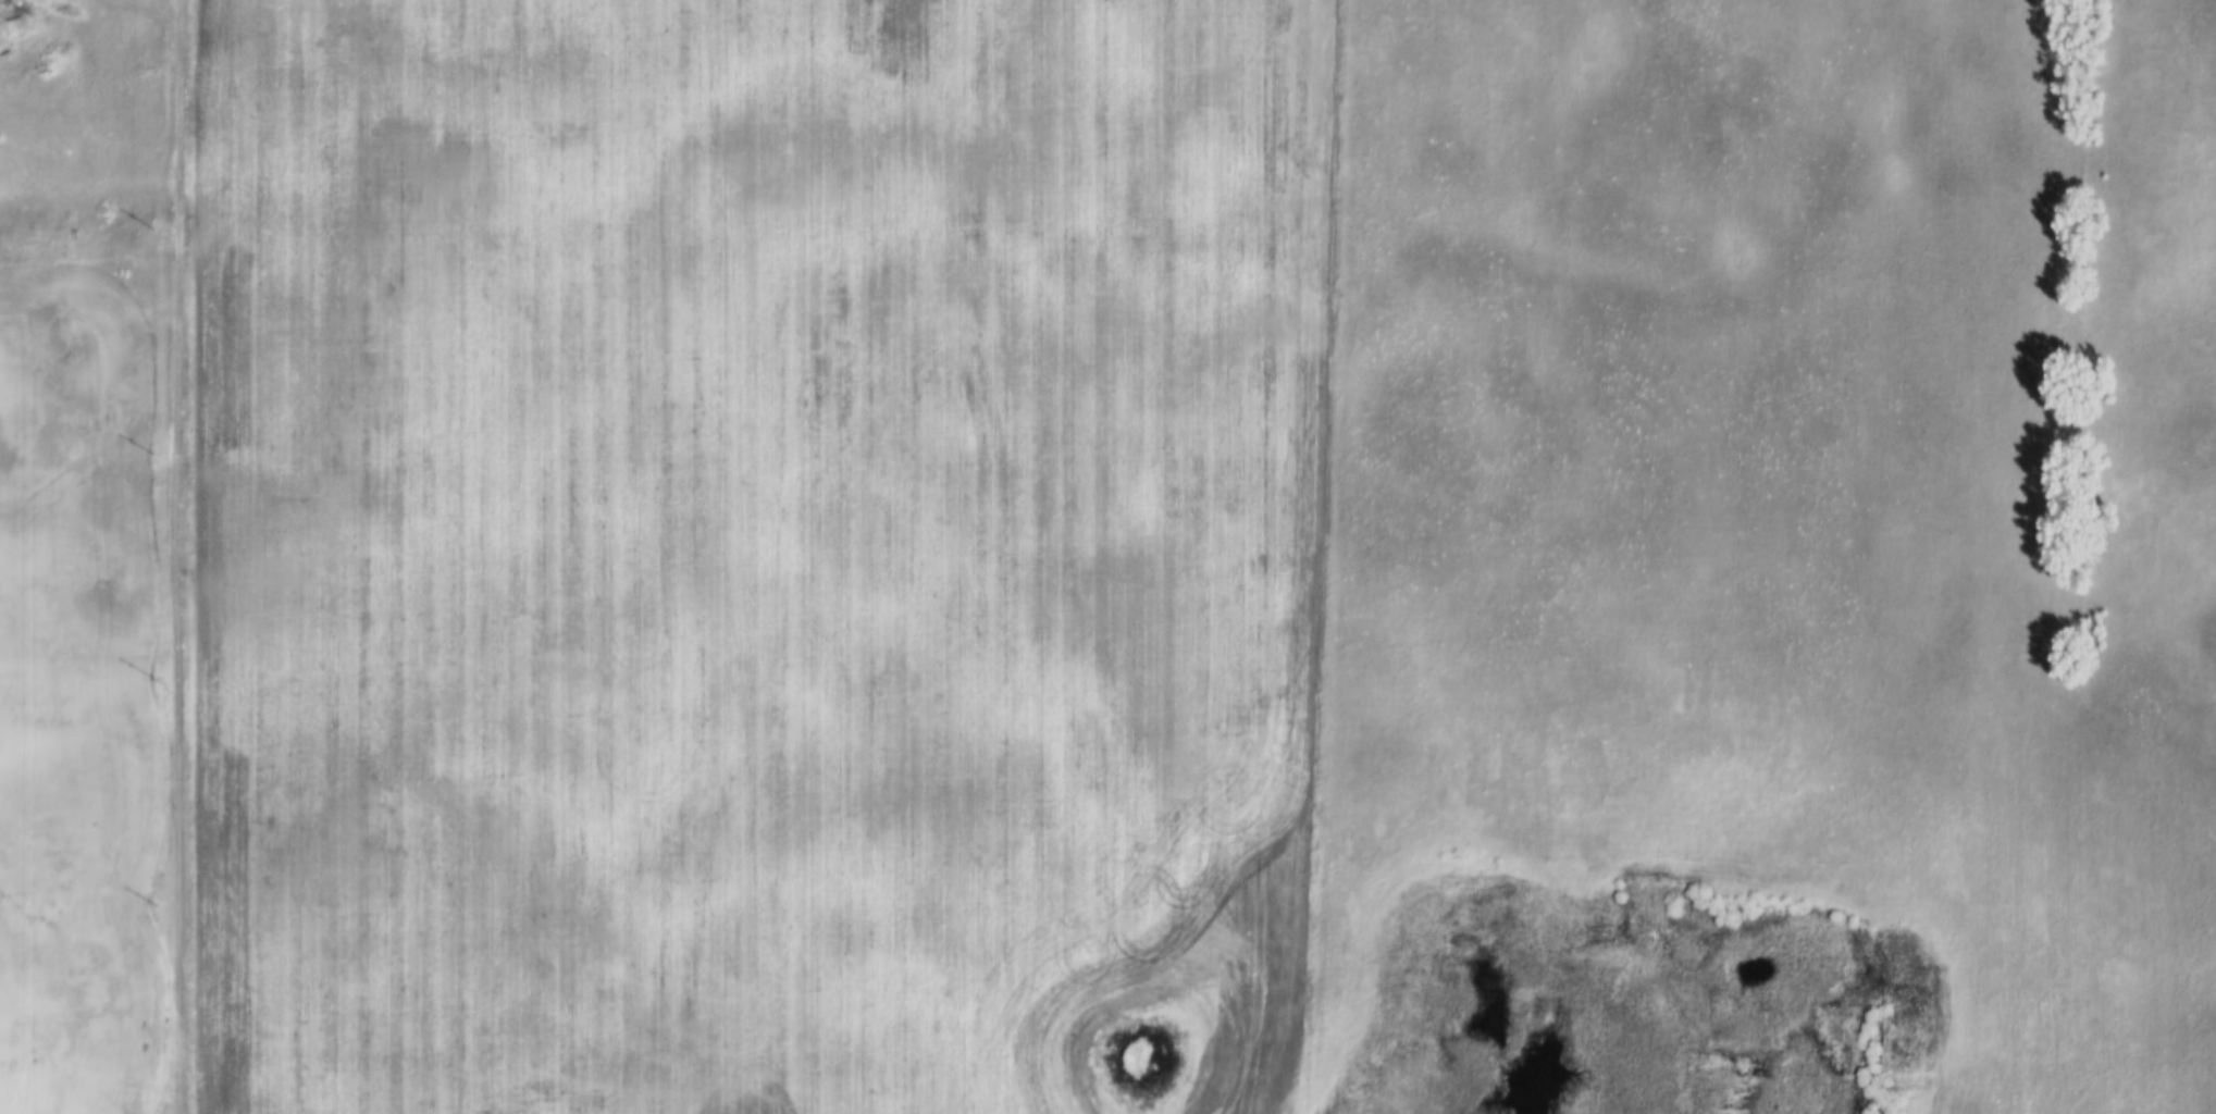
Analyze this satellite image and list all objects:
road: (151, 8)
quarry: (81, 134)
road: (175, 556)

